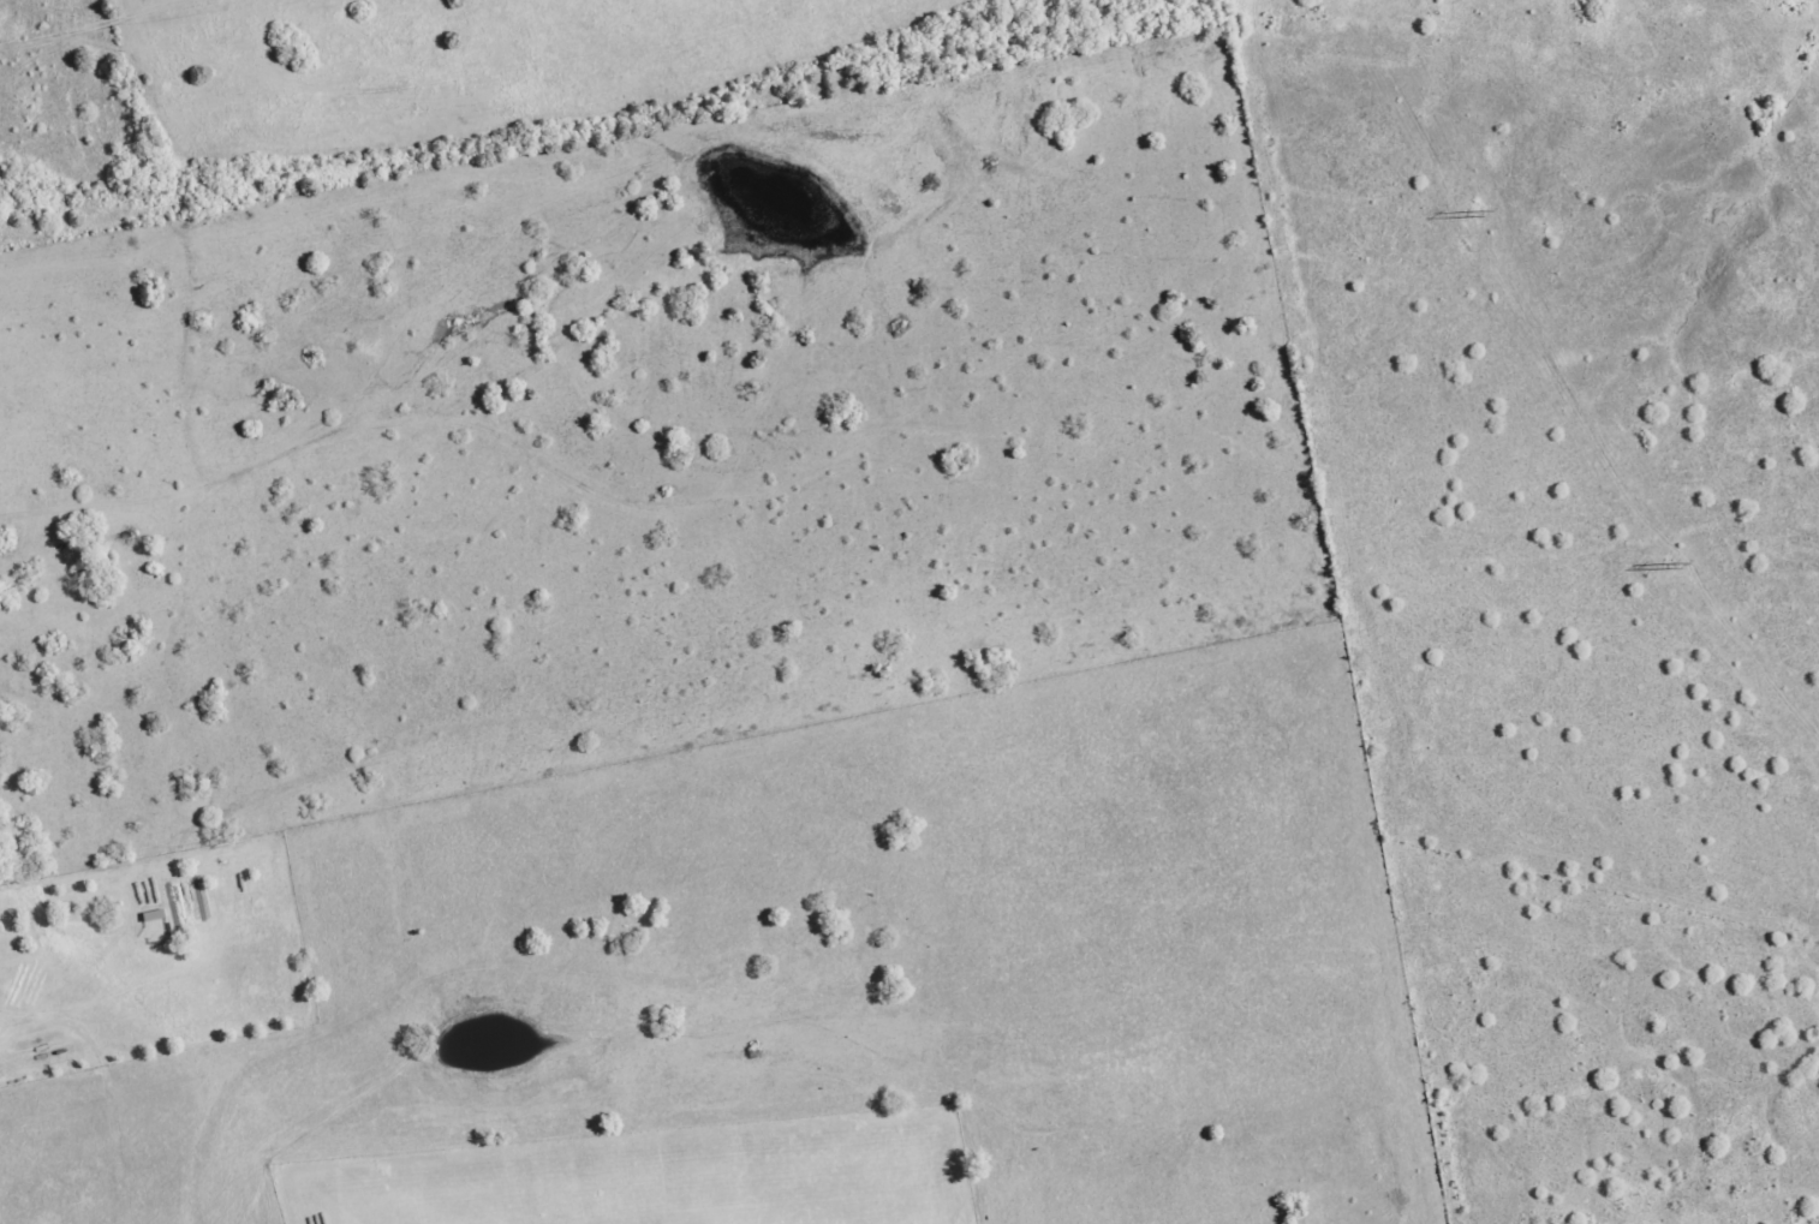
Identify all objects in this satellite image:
road: (129, 10)
road: (100, 26)
road: (41, 55)
road: (386, 88)
power tower: (1478, 214)
power tower: (1672, 567)
building: (150, 915)

